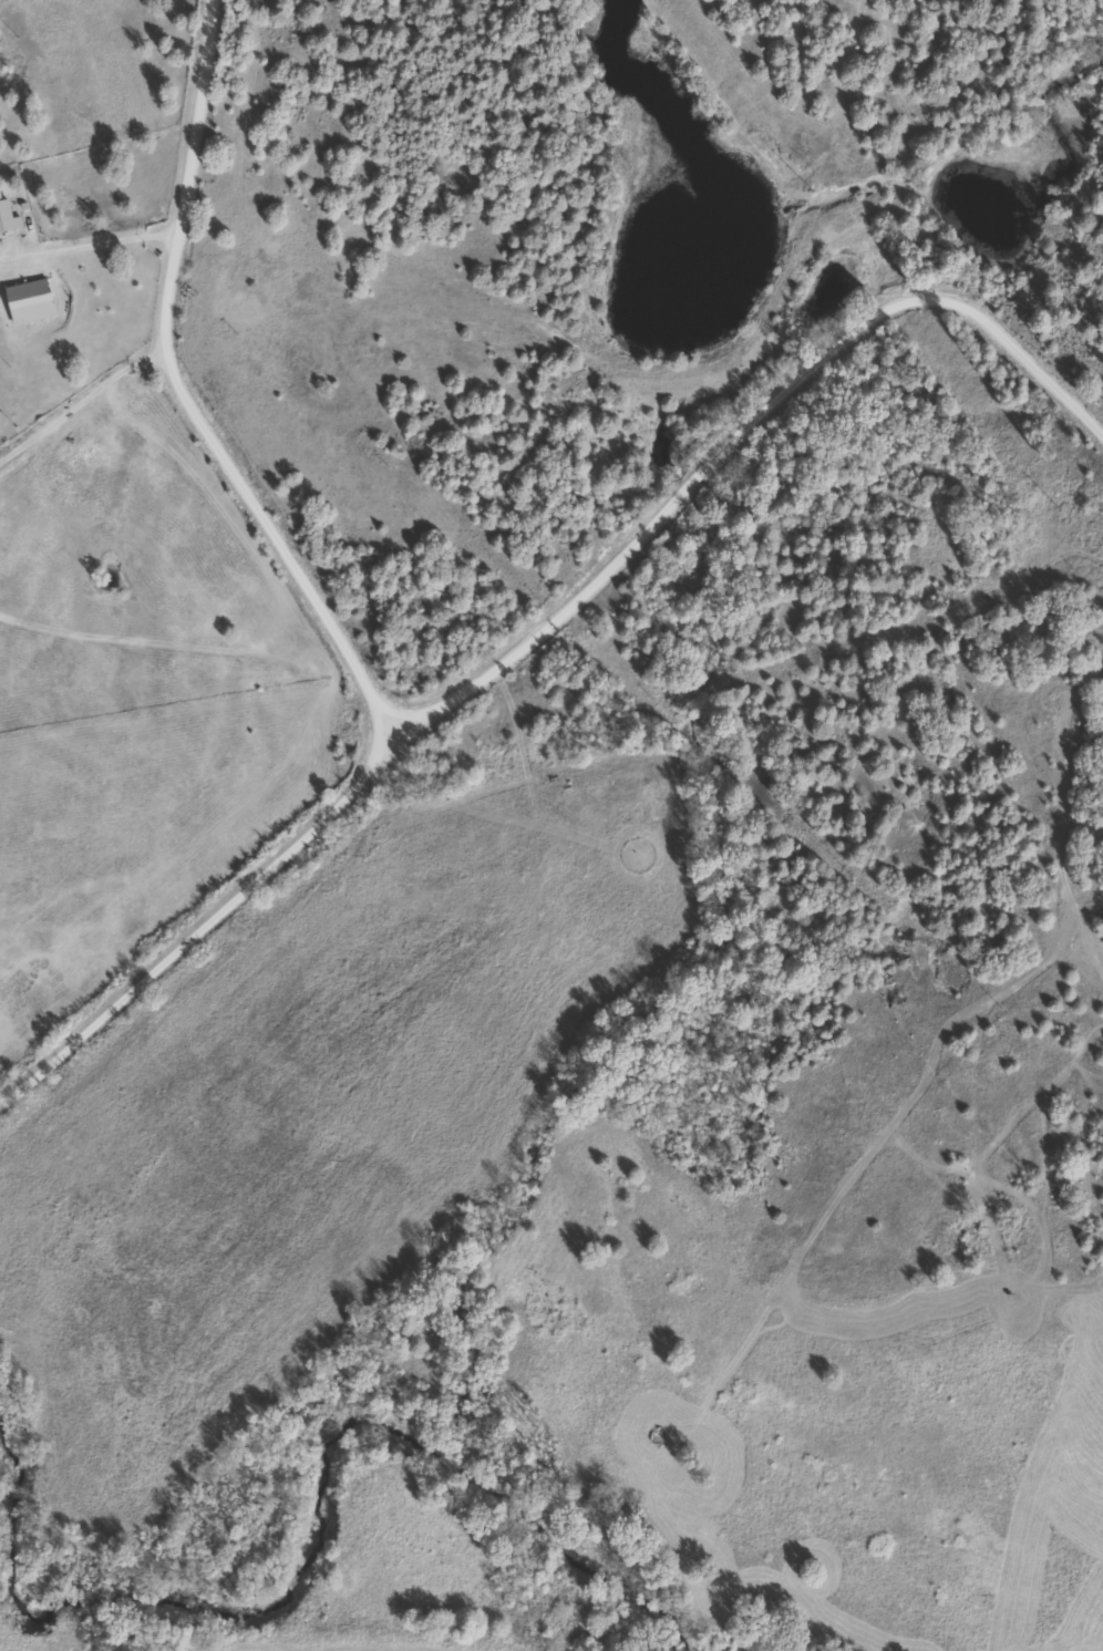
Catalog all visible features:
building: (7, 218)
road: (193, 399)
road: (548, 633)

